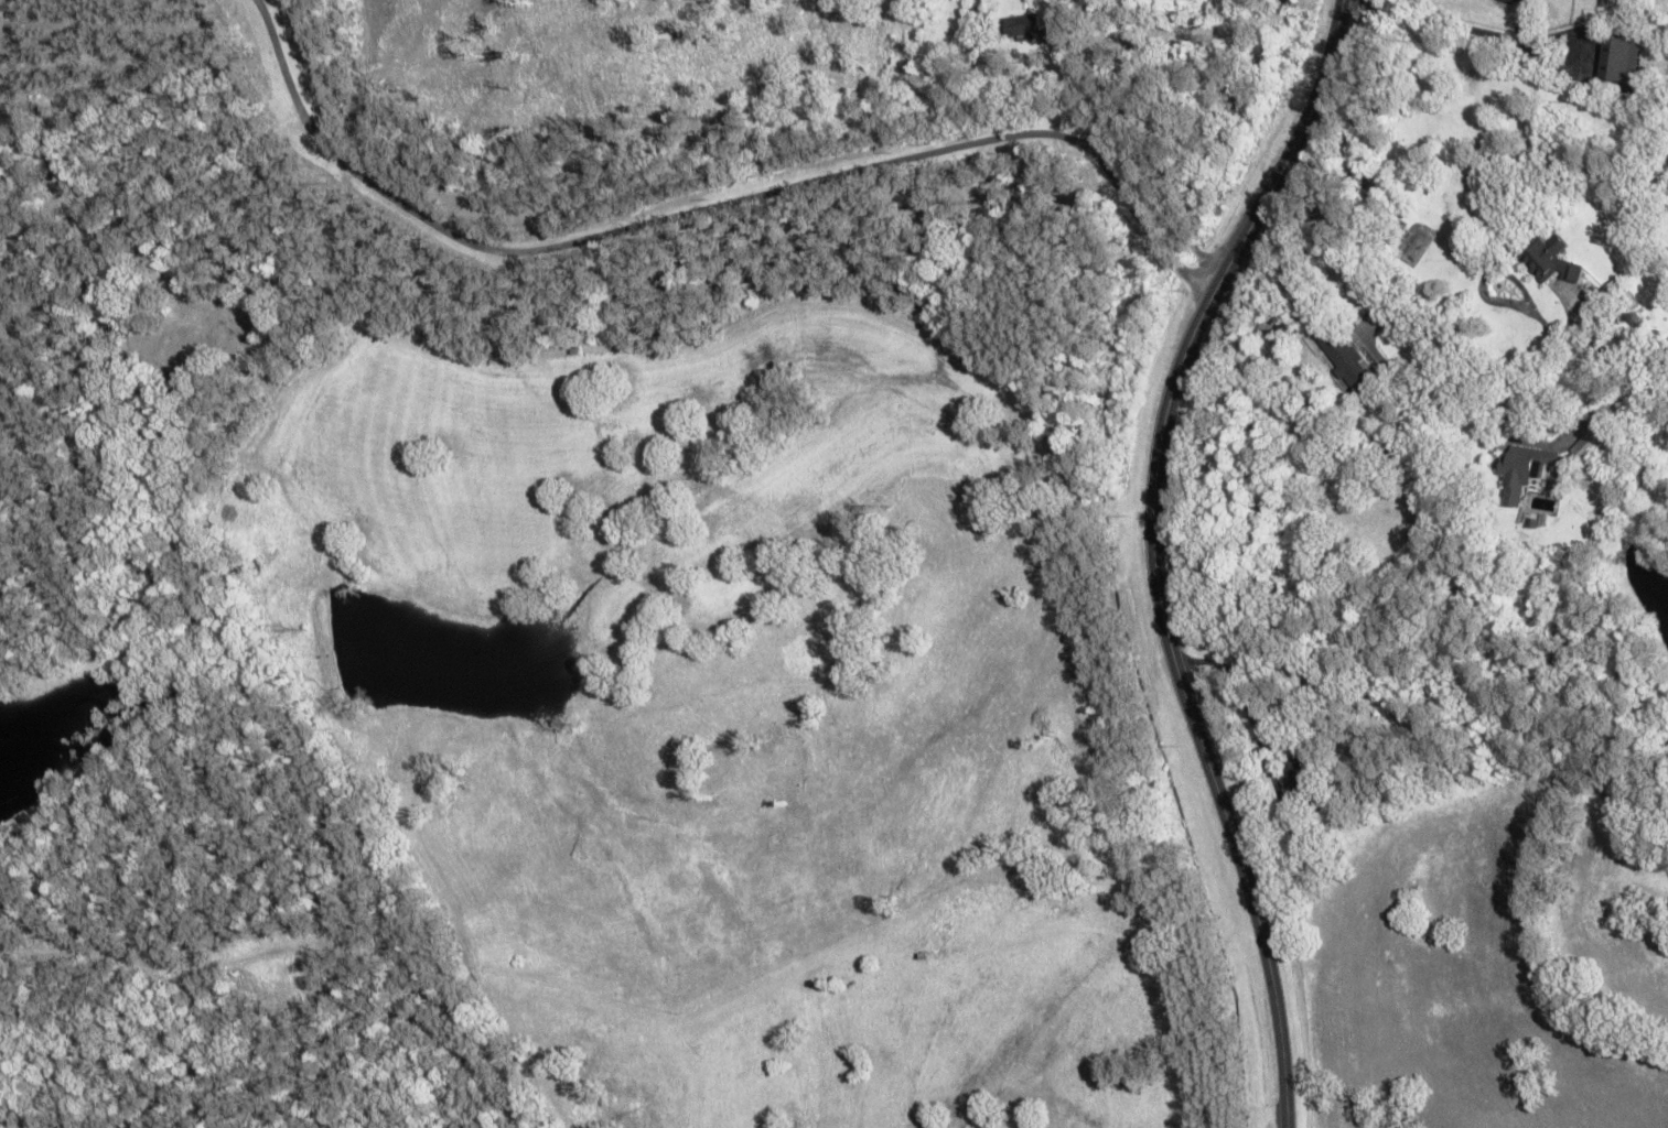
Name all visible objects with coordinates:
building: (1029, 31)
building: (1615, 72)
road: (986, 155)
building: (1547, 262)
building: (1622, 299)
building: (1353, 369)
road: (1407, 414)
building: (1596, 438)
building: (1525, 473)
road: (573, 501)
road: (1154, 553)
building: (1299, 784)

